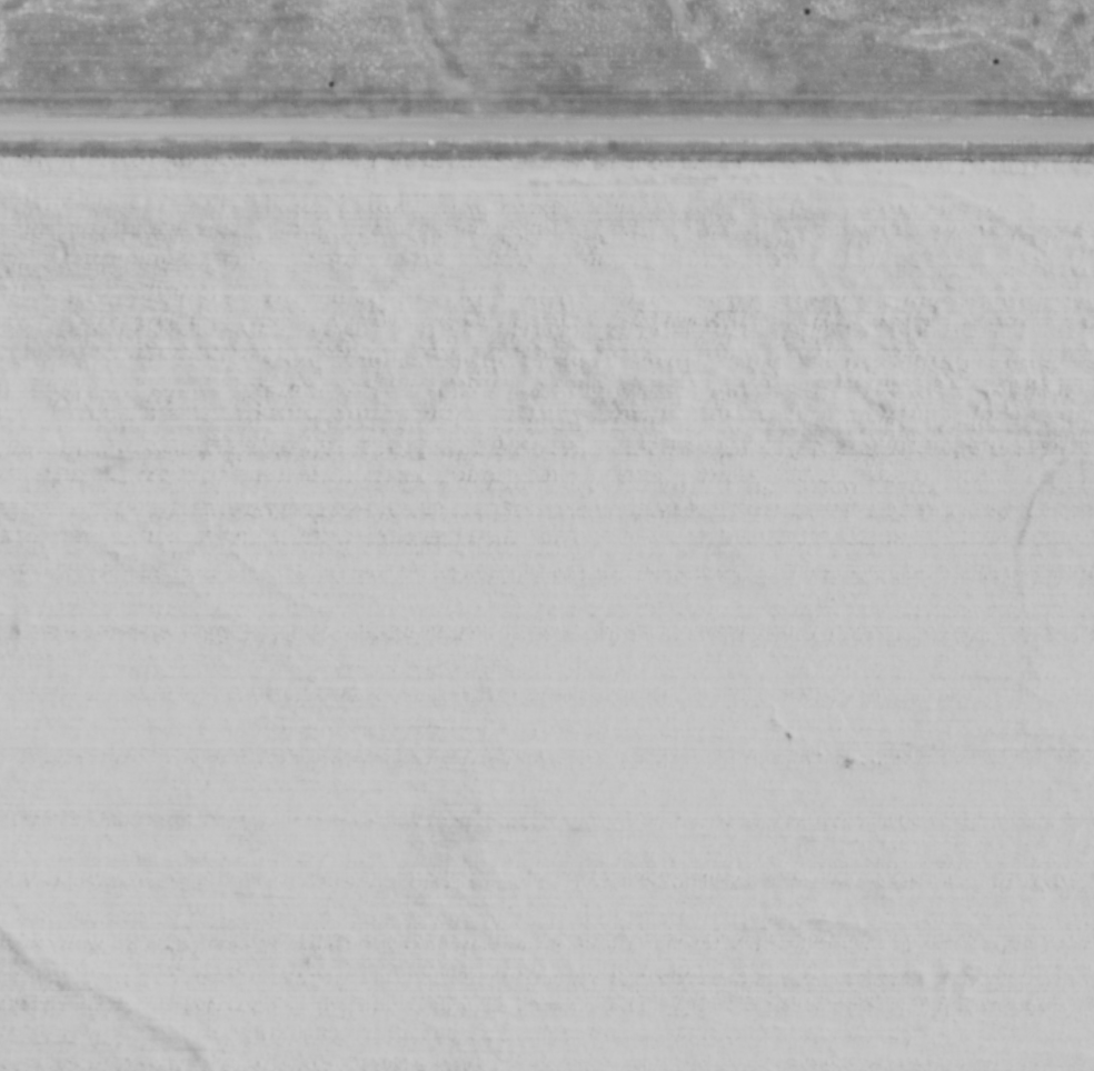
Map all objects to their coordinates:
road: (547, 120)

